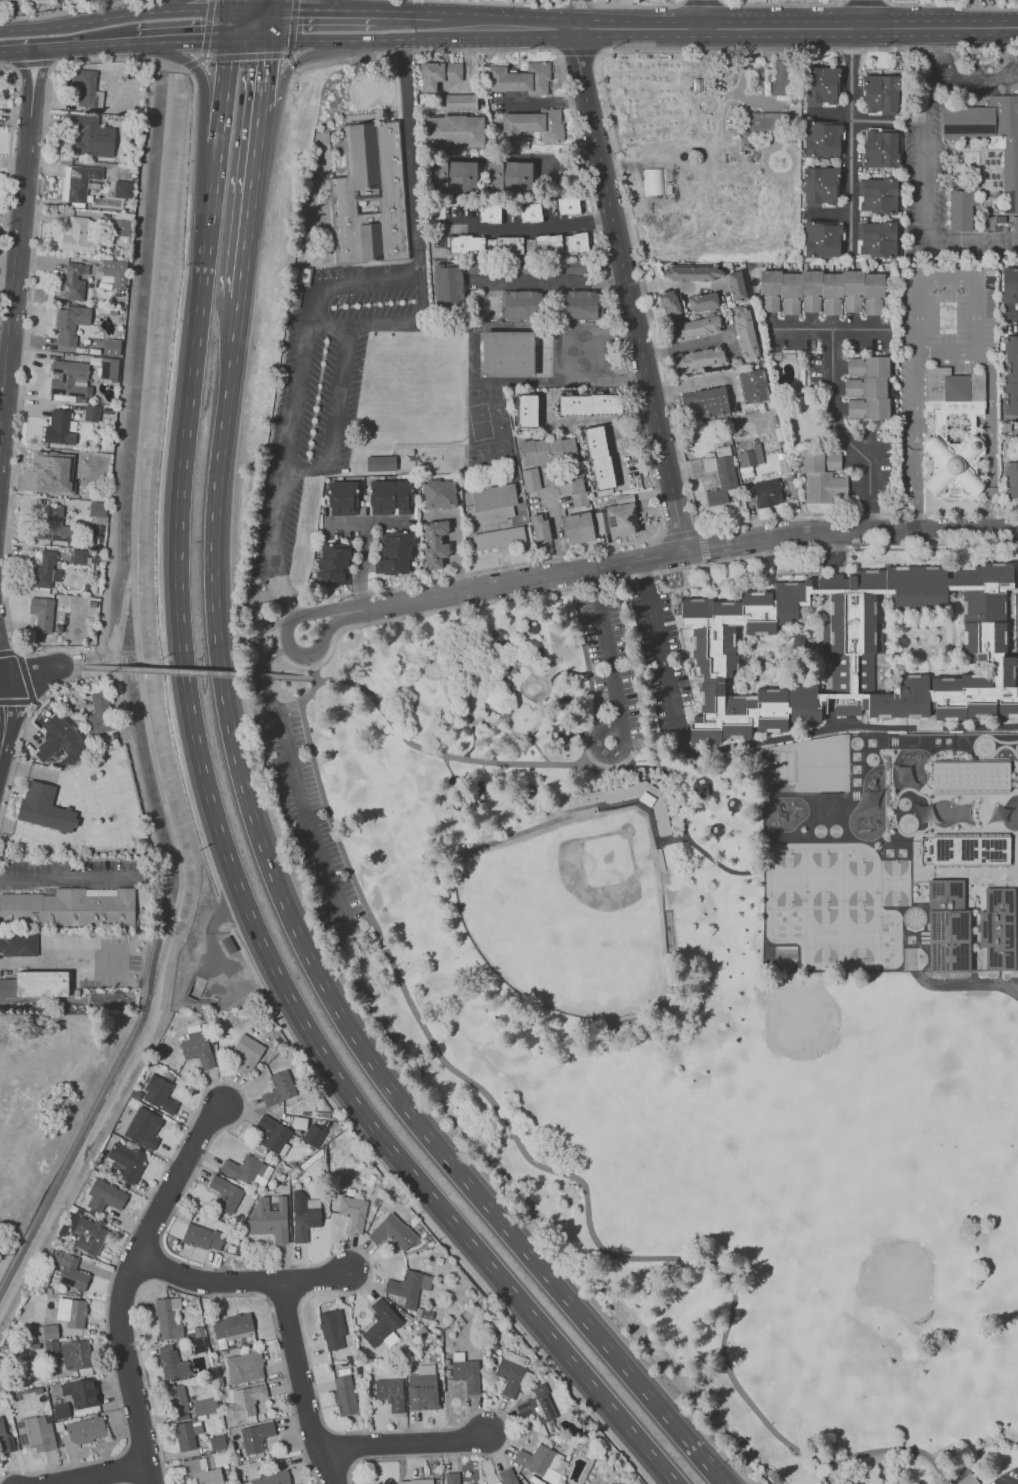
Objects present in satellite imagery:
road: (480, 0)
road: (702, 0)
road: (528, 1)
road: (570, 1)
road: (864, 1)
road: (579, 2)
road: (587, 2)
road: (272, 4)
road: (782, 4)
road: (179, 5)
road: (232, 5)
road: (324, 5)
road: (637, 5)
road: (951, 5)
road: (252, 9)
traffic signals: (272, 9)
road: (323, 9)
road: (209, 10)
traffic signals: (232, 10)
road: (64, 11)
road: (174, 11)
road: (408, 11)
road: (866, 12)
road: (566, 13)
road: (590, 13)
road: (701, 13)
road: (81, 23)
road: (270, 23)
road: (230, 25)
road: (291, 25)
road: (207, 26)
road: (584, 26)
road: (807, 26)
road: (498, 27)
road: (564, 27)
traffic signals: (269, 38)
road: (355, 38)
road: (249, 39)
road: (206, 40)
traffic signals: (229, 40)
road: (152, 41)
road: (172, 41)
road: (72, 47)
road: (171, 49)
road: (578, 52)
road: (285, 54)
road: (289, 54)
road: (203, 56)
road: (246, 56)
road: (206, 57)
road: (296, 61)
road: (265, 62)
road: (190, 63)
road: (292, 63)
road: (32, 64)
road: (170, 64)
building: (439, 74)
building: (779, 77)
building: (520, 78)
road: (978, 79)
building: (821, 88)
building: (86, 89)
building: (881, 95)
road: (262, 96)
road: (204, 98)
building: (456, 103)
road: (547, 105)
building: (761, 120)
building: (533, 124)
road: (192, 127)
building: (453, 131)
building: (989, 135)
building: (88, 136)
building: (823, 140)
road: (851, 140)
building: (880, 149)
road: (9, 153)
road: (504, 156)
road: (568, 156)
road: (411, 158)
road: (927, 173)
building: (460, 176)
building: (509, 176)
building: (80, 181)
building: (653, 181)
building: (822, 186)
building: (122, 188)
building: (879, 196)
road: (251, 201)
building: (567, 204)
building: (390, 206)
building: (961, 210)
building: (530, 212)
building: (489, 213)
building: (120, 226)
road: (526, 227)
building: (79, 235)
building: (824, 238)
building: (880, 240)
building: (575, 241)
road: (634, 242)
building: (547, 243)
building: (466, 244)
building: (509, 245)
road: (18, 252)
building: (477, 267)
building: (525, 267)
building: (577, 267)
building: (115, 272)
building: (712, 278)
road: (553, 279)
building: (72, 281)
road: (352, 282)
building: (447, 282)
road: (947, 282)
road: (627, 290)
building: (1010, 291)
building: (821, 293)
building: (703, 299)
building: (519, 303)
building: (578, 303)
building: (668, 303)
building: (69, 322)
building: (696, 328)
road: (833, 330)
building: (745, 337)
building: (111, 346)
road: (952, 350)
building: (508, 353)
road: (581, 358)
building: (700, 358)
building: (109, 368)
building: (1011, 375)
building: (69, 377)
road: (689, 385)
building: (753, 385)
building: (868, 386)
building: (953, 390)
park: (474, 393)
park: (408, 394)
road: (298, 396)
road: (632, 396)
building: (591, 403)
building: (706, 403)
road: (335, 411)
building: (528, 411)
building: (91, 412)
parking lot: (320, 412)
road: (571, 420)
park: (480, 421)
building: (59, 427)
road: (18, 428)
road: (613, 435)
road: (845, 435)
building: (543, 452)
building: (600, 456)
park: (488, 458)
building: (749, 459)
building: (833, 460)
building: (382, 463)
building: (954, 467)
building: (53, 472)
building: (532, 480)
building: (723, 480)
building: (1011, 482)
building: (816, 486)
building: (574, 489)
building: (768, 490)
building: (437, 495)
building: (392, 497)
building: (342, 500)
building: (494, 502)
building: (97, 508)
building: (621, 520)
building: (54, 526)
road: (554, 528)
building: (580, 528)
building: (540, 529)
road: (853, 529)
road: (696, 531)
building: (499, 539)
building: (438, 541)
building: (390, 552)
building: (79, 556)
building: (340, 563)
road: (362, 564)
building: (45, 570)
road: (519, 582)
road: (554, 590)
road: (323, 610)
building: (41, 613)
parking lot: (604, 636)
road: (250, 644)
building: (851, 649)
road: (9, 652)
road: (608, 656)
road: (268, 662)
road: (69, 666)
road: (29, 672)
road: (196, 672)
road: (24, 675)
road: (315, 678)
road: (19, 701)
road: (593, 702)
road: (540, 707)
building: (99, 713)
road: (3, 717)
road: (493, 724)
building: (59, 739)
road: (754, 741)
road: (444, 755)
road: (35, 771)
building: (970, 774)
road: (115, 793)
road: (302, 806)
building: (44, 808)
parking lot: (311, 817)
building: (660, 821)
road: (218, 832)
road: (68, 837)
building: (971, 850)
road: (61, 878)
road: (767, 878)
building: (69, 908)
park: (570, 915)
building: (948, 927)
building: (999, 929)
building: (18, 945)
road: (308, 955)
road: (58, 965)
building: (42, 983)
road: (960, 986)
building: (8, 988)
park: (666, 1036)
building: (197, 1048)
building: (246, 1052)
building: (278, 1088)
building: (159, 1094)
building: (143, 1127)
building: (273, 1134)
building: (313, 1135)
building: (126, 1161)
building: (241, 1168)
road: (565, 1173)
building: (225, 1193)
building: (104, 1196)
building: (352, 1211)
building: (303, 1214)
building: (269, 1216)
building: (392, 1231)
building: (89, 1234)
building: (202, 1237)
road: (203, 1266)
building: (69, 1269)
road: (126, 1281)
road: (237, 1282)
building: (408, 1286)
building: (71, 1311)
building: (167, 1318)
building: (381, 1324)
building: (232, 1326)
building: (331, 1328)
building: (46, 1332)
building: (51, 1347)
building: (75, 1355)
building: (171, 1363)
road: (300, 1364)
building: (244, 1366)
building: (465, 1371)
building: (510, 1371)
building: (422, 1388)
building: (80, 1392)
building: (389, 1393)
building: (344, 1394)
building: (177, 1398)
building: (244, 1401)
building: (538, 1403)
building: (204, 1405)
building: (83, 1431)
building: (35, 1432)
building: (186, 1433)
building: (255, 1435)
building: (4, 1438)
road: (408, 1444)
building: (541, 1461)
road: (329, 1465)
road: (96, 1472)
building: (202, 1472)
building: (507, 1476)
building: (451, 1478)
parking lot: (1010, 1478)
building: (268, 1479)
building: (969, 1479)
building: (407, 1482)

